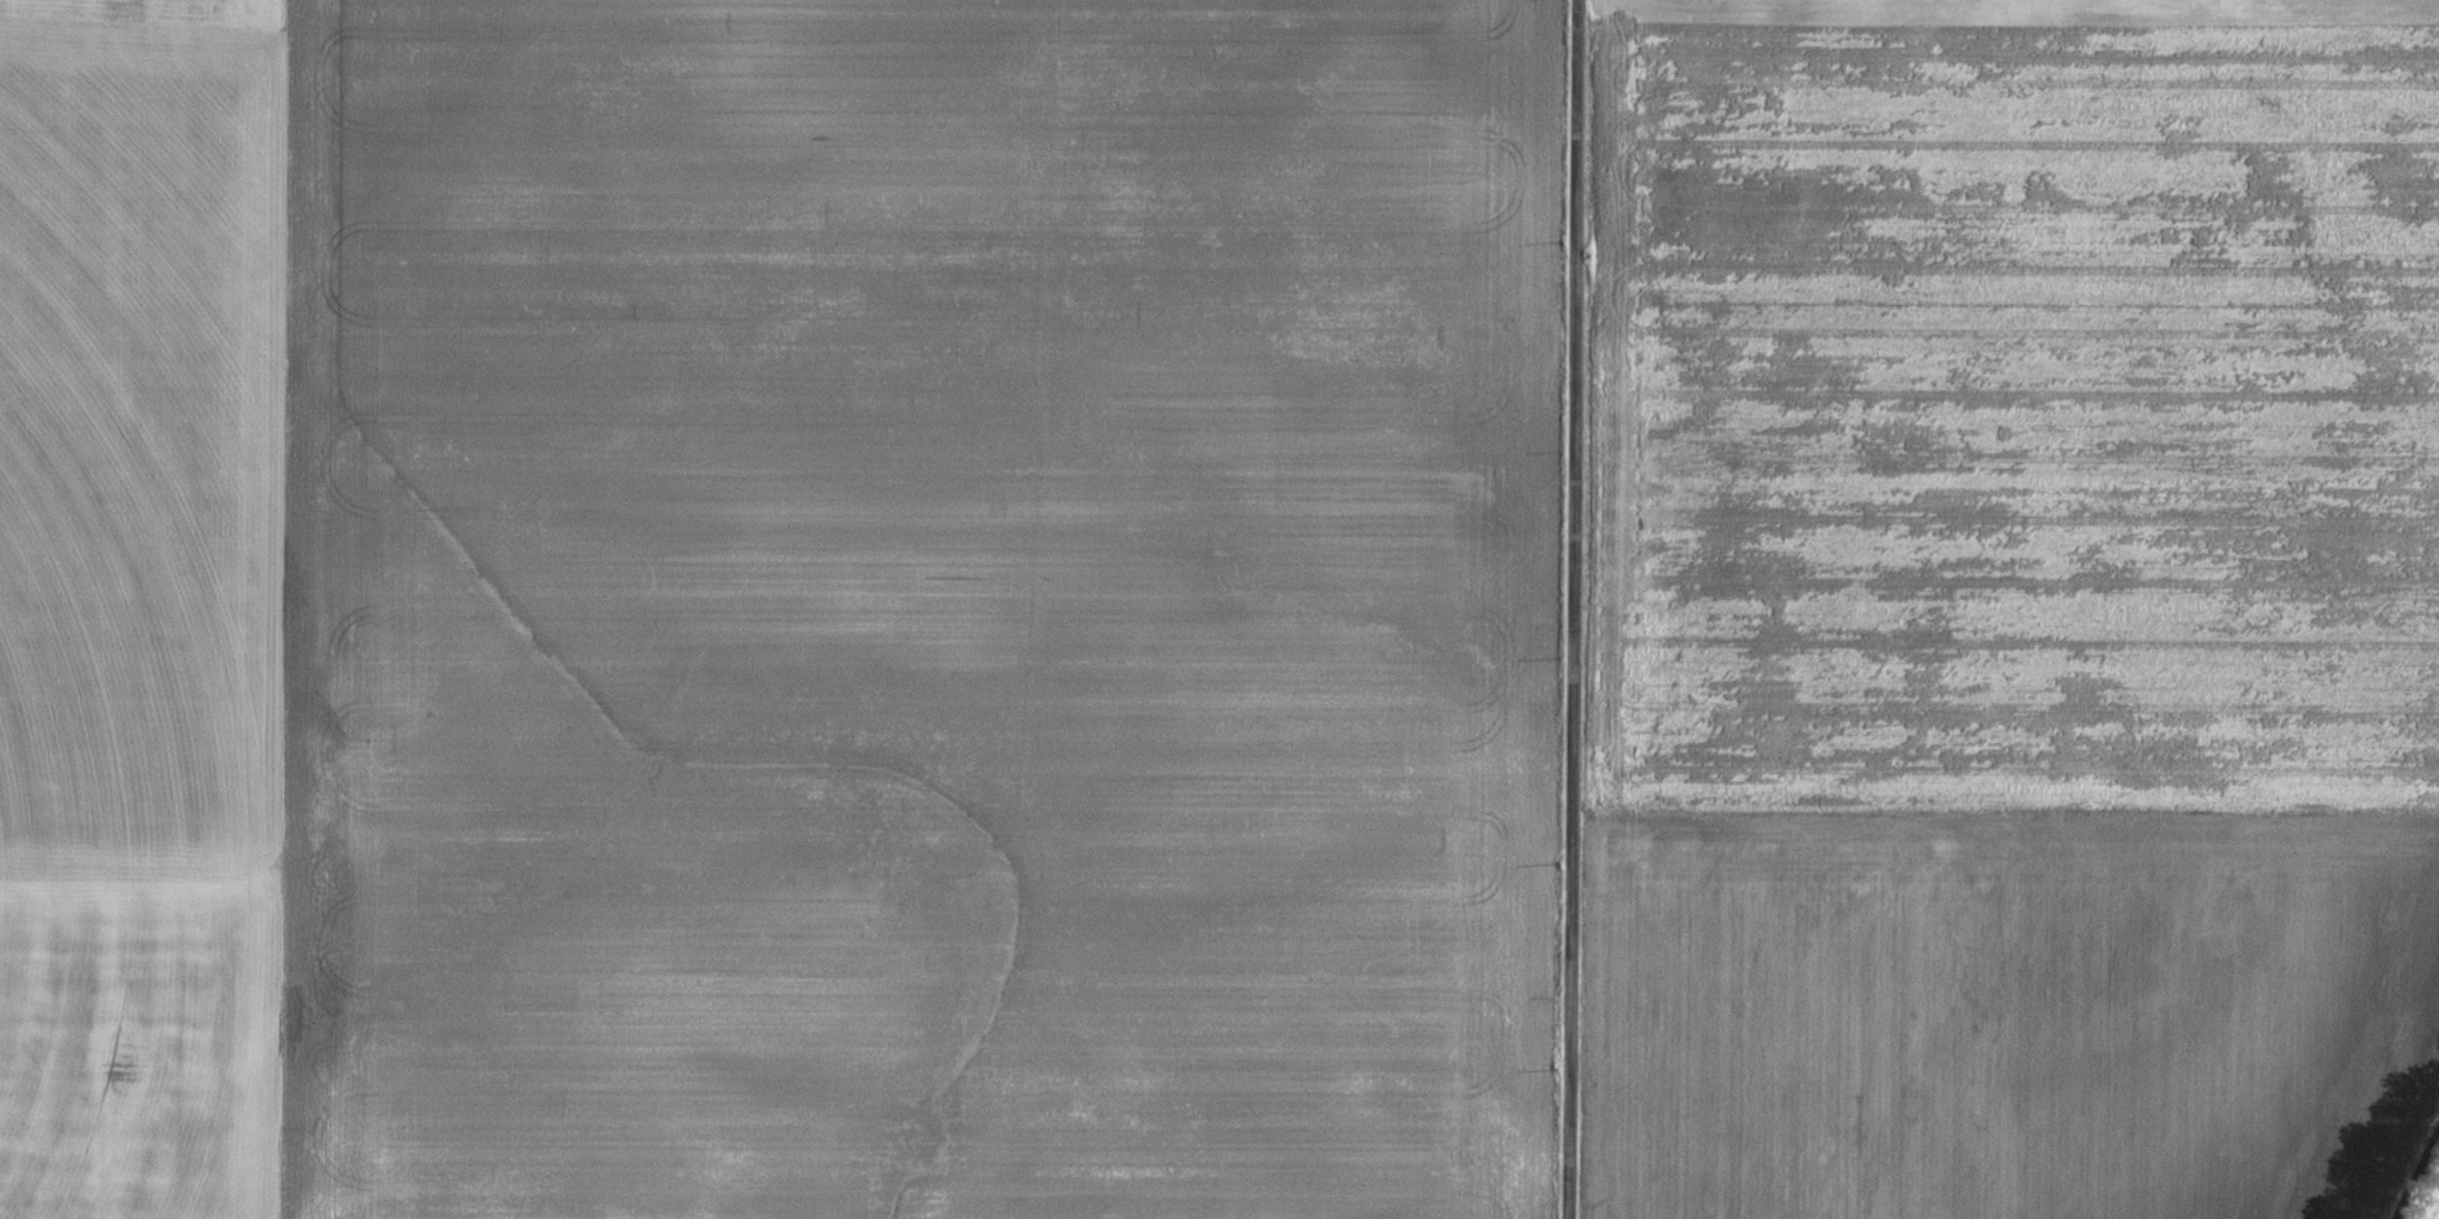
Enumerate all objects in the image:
road: (1574, 609)

